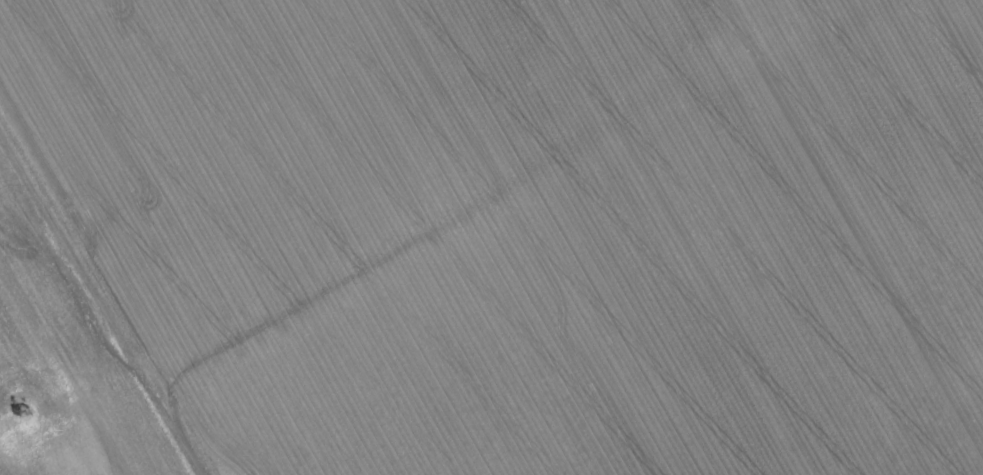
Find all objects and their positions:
road: (105, 293)

